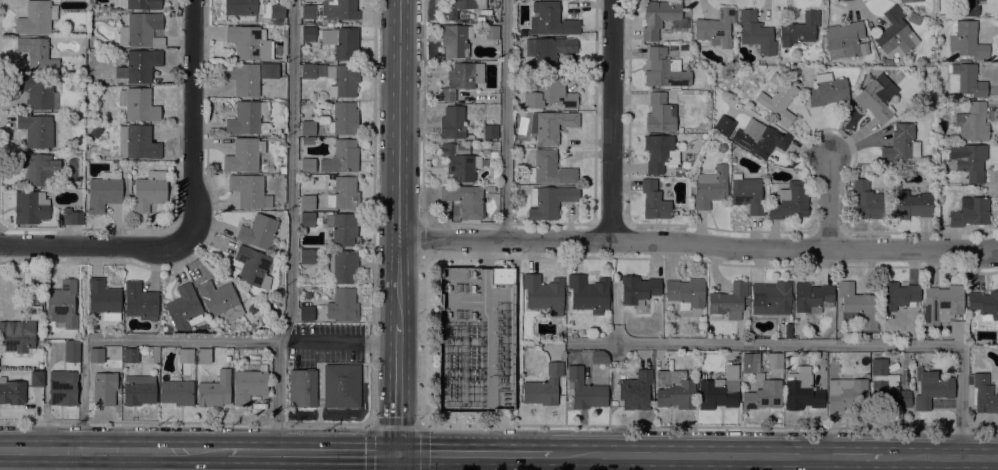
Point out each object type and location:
building: (909, 0)
building: (140, 4)
building: (455, 8)
building: (966, 8)
building: (243, 9)
building: (339, 9)
building: (277, 10)
building: (308, 12)
building: (36, 17)
building: (658, 17)
building: (914, 18)
building: (550, 19)
building: (715, 28)
building: (800, 28)
building: (141, 30)
building: (491, 32)
building: (755, 32)
building: (895, 33)
building: (335, 40)
building: (455, 40)
building: (845, 40)
building: (967, 41)
building: (249, 42)
building: (683, 46)
building: (550, 50)
building: (36, 53)
building: (885, 61)
building: (139, 65)
building: (664, 69)
building: (270, 70)
building: (806, 70)
building: (308, 71)
building: (797, 71)
building: (243, 78)
building: (343, 80)
building: (458, 80)
building: (966, 80)
building: (826, 90)
building: (36, 91)
building: (749, 92)
building: (547, 93)
building: (876, 97)
building: (777, 99)
building: (138, 104)
road: (423, 111)
building: (660, 113)
building: (246, 117)
building: (344, 119)
road: (192, 120)
road: (504, 120)
road: (611, 120)
building: (452, 122)
building: (973, 122)
building: (551, 125)
building: (723, 125)
building: (308, 128)
building: (36, 130)
building: (95, 131)
building: (490, 131)
building: (759, 138)
building: (308, 141)
building: (137, 142)
building: (900, 143)
building: (660, 153)
building: (493, 154)
building: (243, 155)
building: (341, 157)
road: (400, 160)
building: (461, 161)
building: (967, 161)
building: (307, 165)
building: (37, 168)
building: (551, 168)
building: (282, 169)
building: (495, 174)
building: (710, 187)
building: (149, 190)
building: (104, 191)
building: (249, 191)
building: (345, 192)
building: (747, 193)
building: (465, 199)
building: (654, 200)
building: (866, 200)
building: (549, 201)
building: (790, 201)
building: (307, 202)
road: (827, 202)
building: (911, 204)
building: (30, 207)
road: (372, 211)
building: (970, 211)
building: (71, 216)
building: (307, 219)
road: (289, 227)
building: (342, 228)
building: (257, 231)
road: (421, 240)
road: (699, 244)
road: (94, 245)
building: (307, 256)
building: (343, 266)
building: (252, 267)
building: (502, 276)
building: (638, 289)
building: (685, 292)
building: (588, 293)
building: (544, 294)
building: (898, 295)
building: (772, 296)
building: (812, 297)
building: (104, 299)
building: (219, 300)
building: (728, 300)
building: (746, 301)
building: (140, 302)
building: (942, 303)
building: (62, 304)
building: (263, 304)
building: (984, 304)
building: (343, 305)
building: (857, 306)
building: (182, 307)
building: (306, 313)
building: (957, 328)
building: (17, 335)
building: (787, 335)
building: (488, 338)
power substation: (477, 339)
road: (184, 341)
road: (338, 342)
road: (422, 342)
road: (817, 344)
building: (71, 351)
building: (96, 355)
building: (131, 355)
building: (203, 355)
building: (185, 356)
building: (599, 356)
building: (774, 360)
building: (750, 362)
building: (879, 366)
building: (326, 371)
building: (36, 377)
building: (249, 383)
building: (544, 386)
road: (399, 387)
building: (62, 388)
building: (104, 388)
building: (931, 388)
building: (674, 389)
building: (215, 390)
building: (489, 390)
building: (585, 390)
building: (801, 390)
building: (12, 391)
building: (635, 391)
building: (177, 392)
building: (138, 393)
building: (846, 393)
building: (888, 393)
building: (984, 394)
building: (715, 395)
building: (763, 395)
road: (185, 421)
road: (396, 423)
road: (710, 426)
road: (114, 451)
road: (313, 452)
traffic signals: (398, 453)
road: (476, 453)
road: (685, 455)
road: (848, 456)
road: (939, 456)
road: (398, 461)
road: (815, 463)

